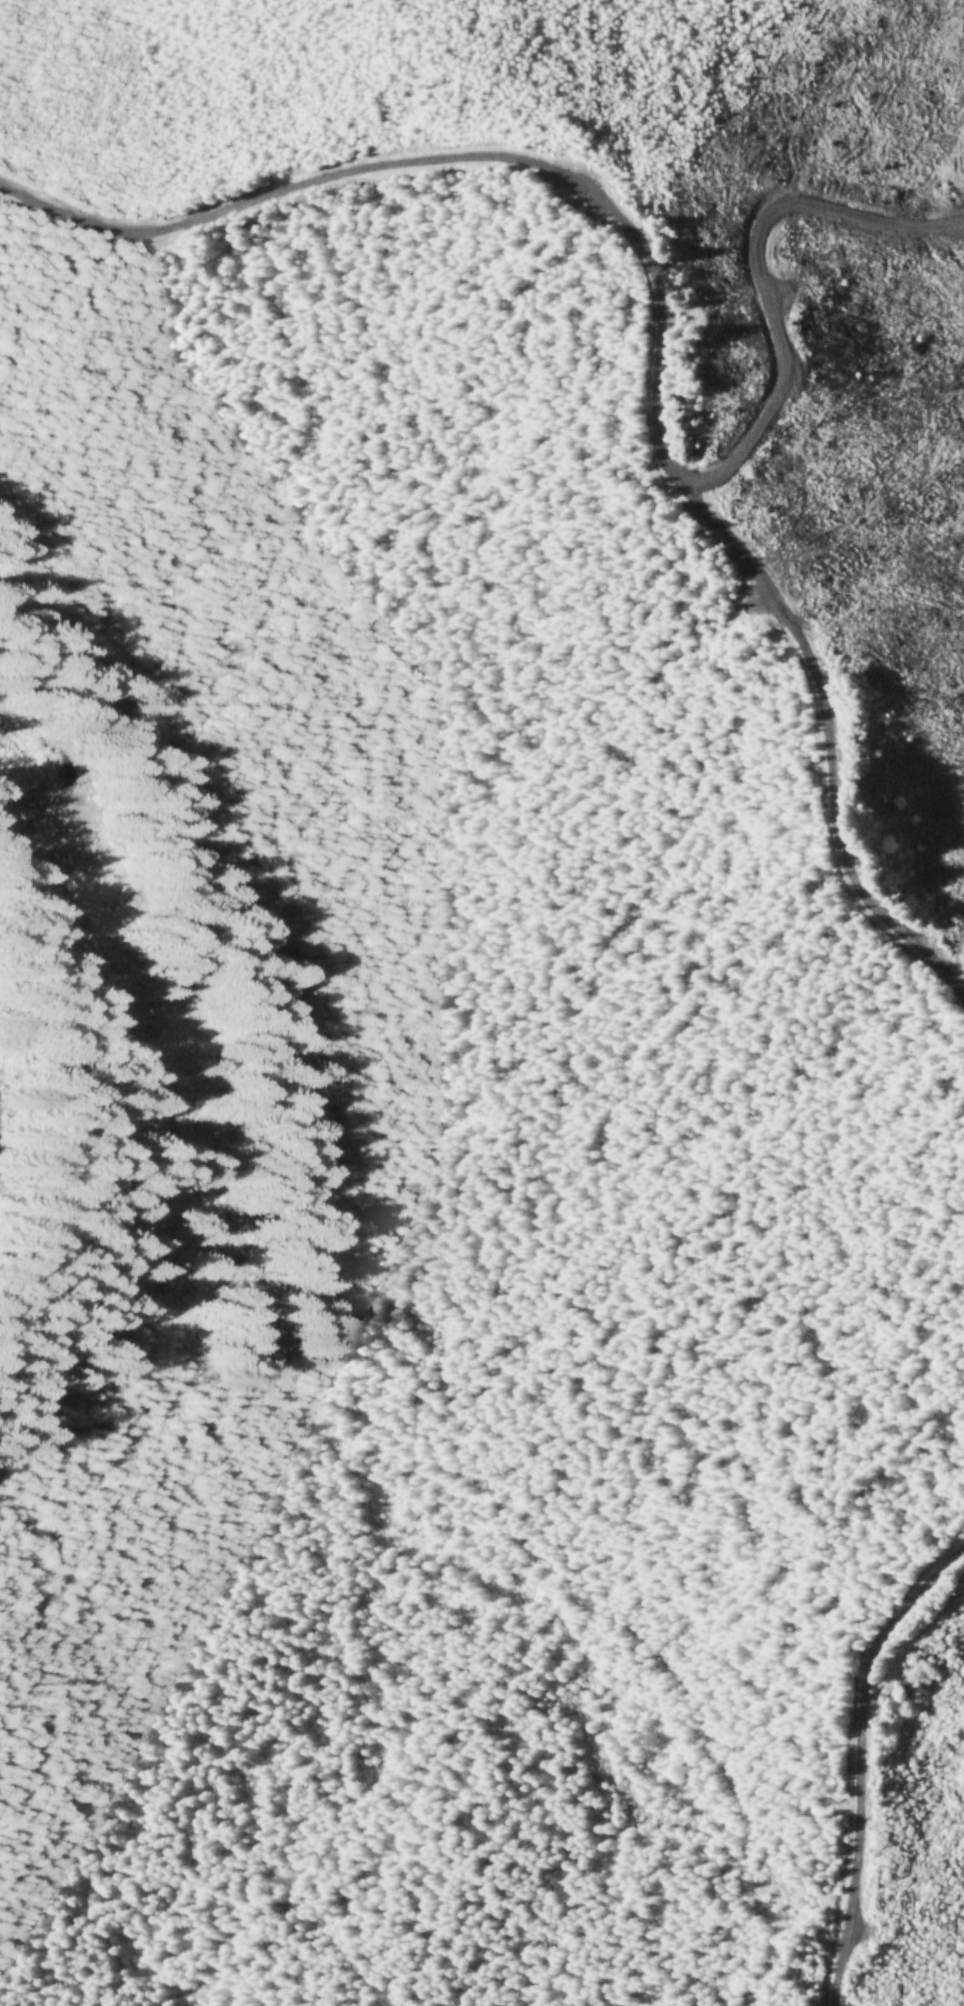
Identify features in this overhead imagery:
road: (659, 316)
road: (507, 1521)
road: (862, 1757)

